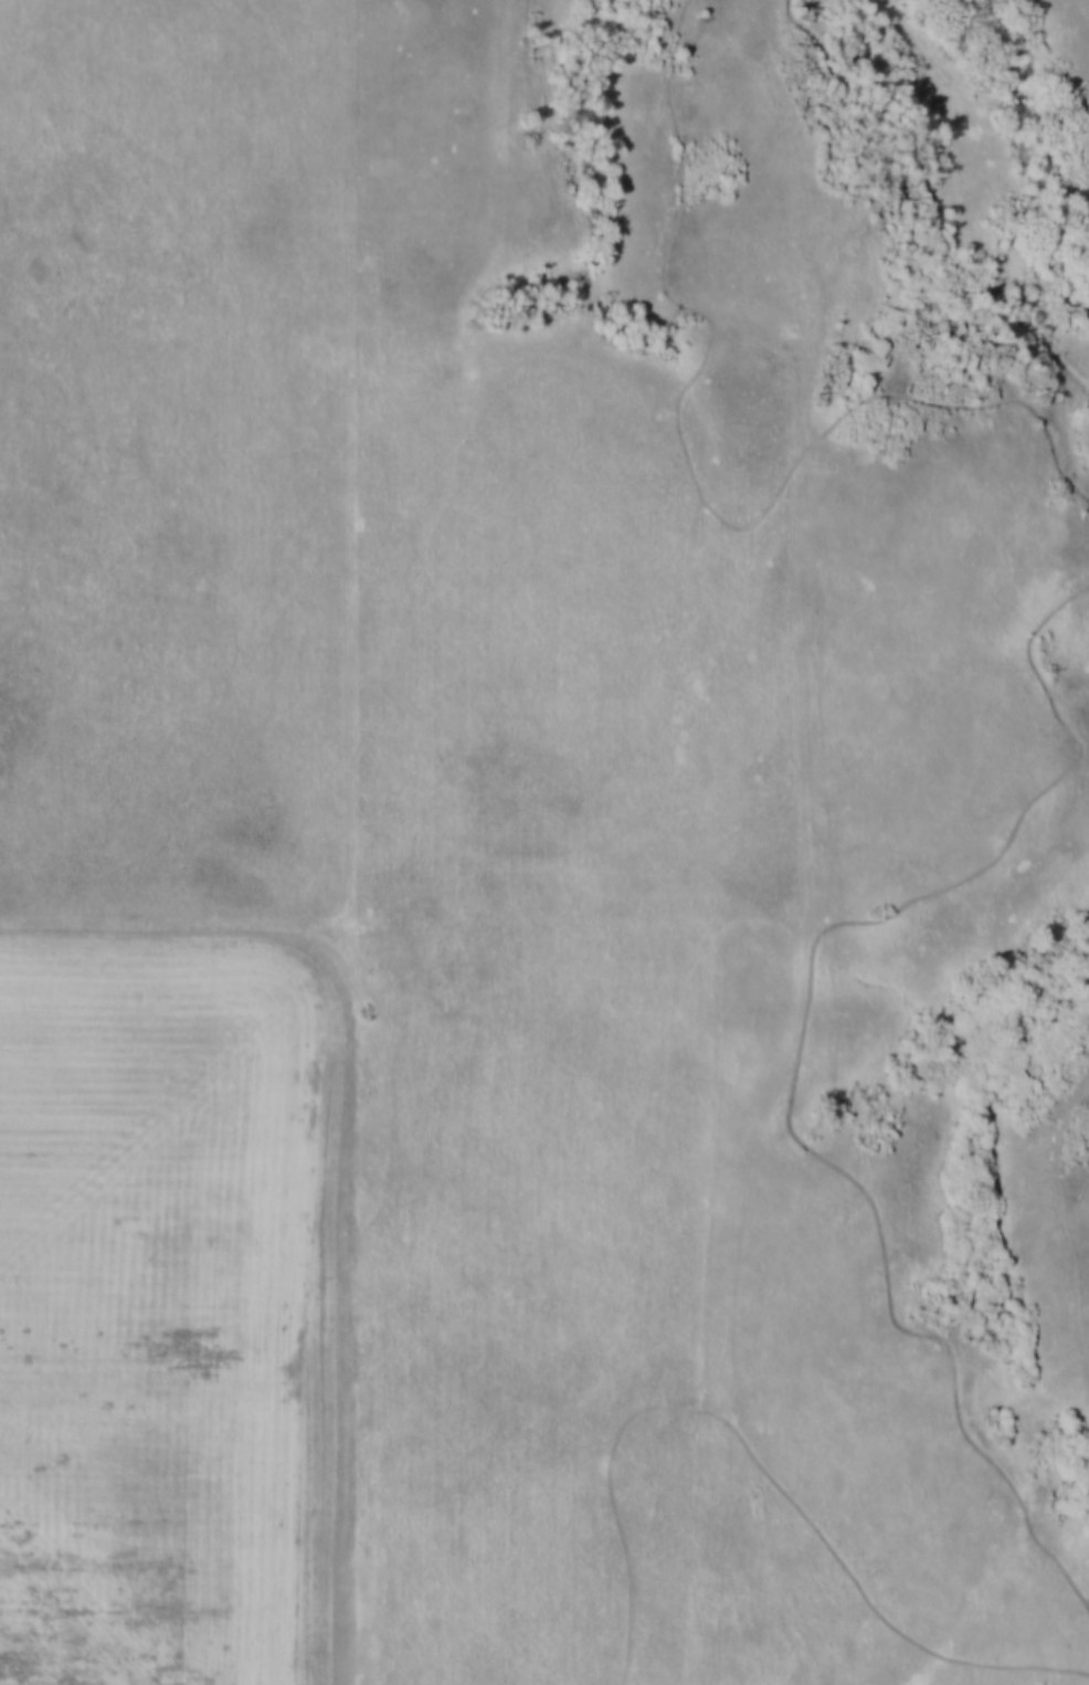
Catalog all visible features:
park: (721, 842)

